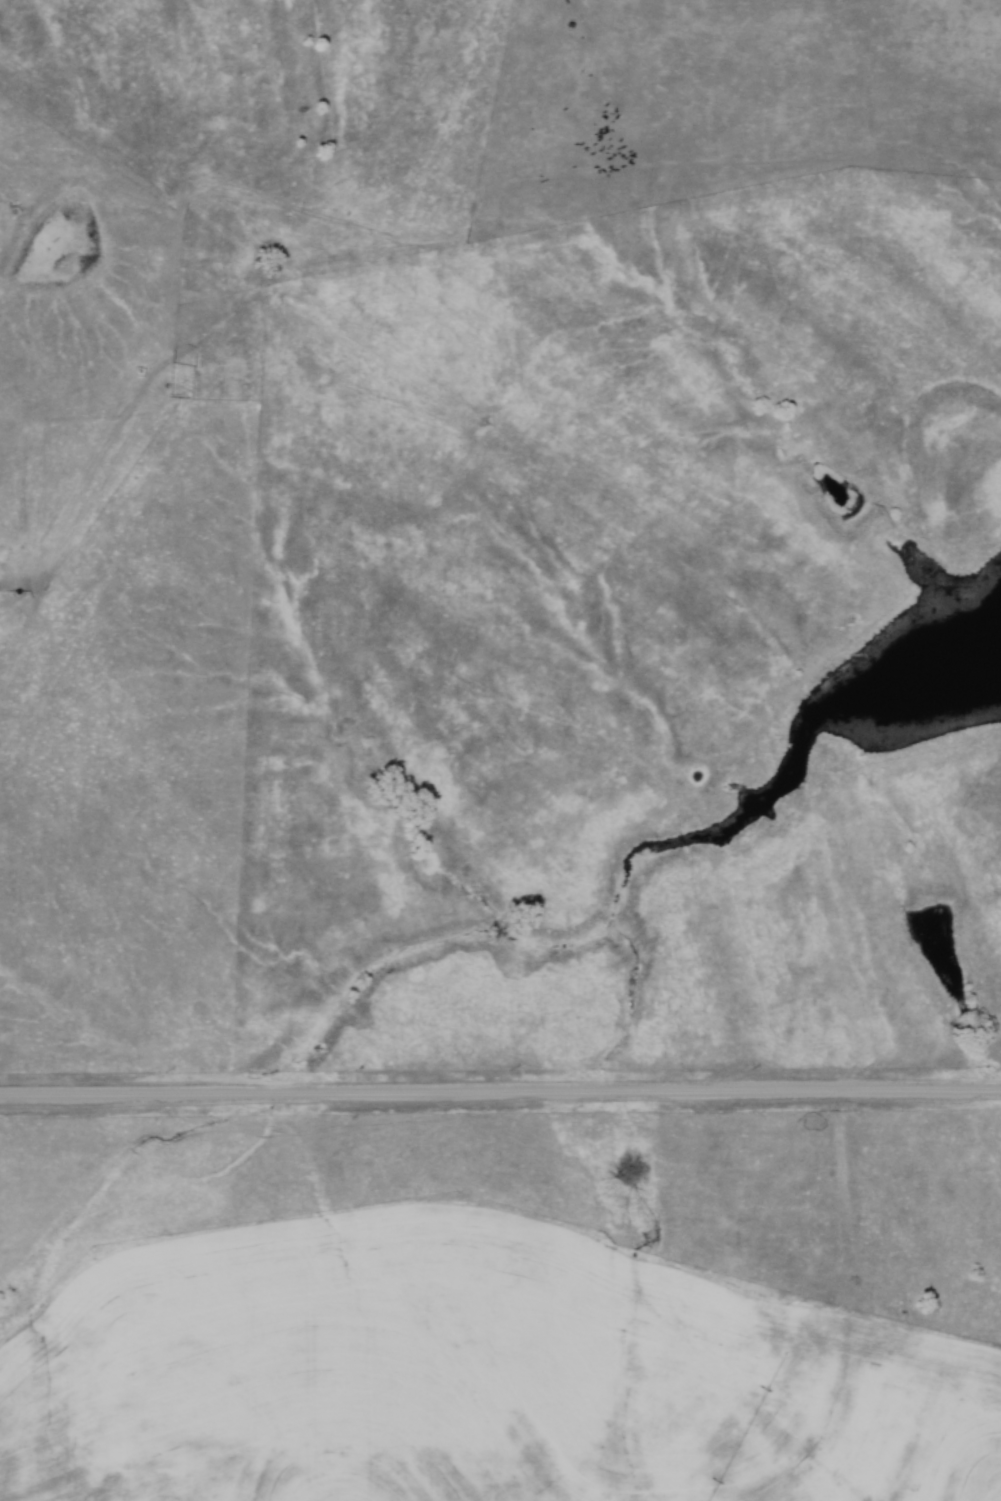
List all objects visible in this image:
road: (500, 1094)
road: (847, 1192)

